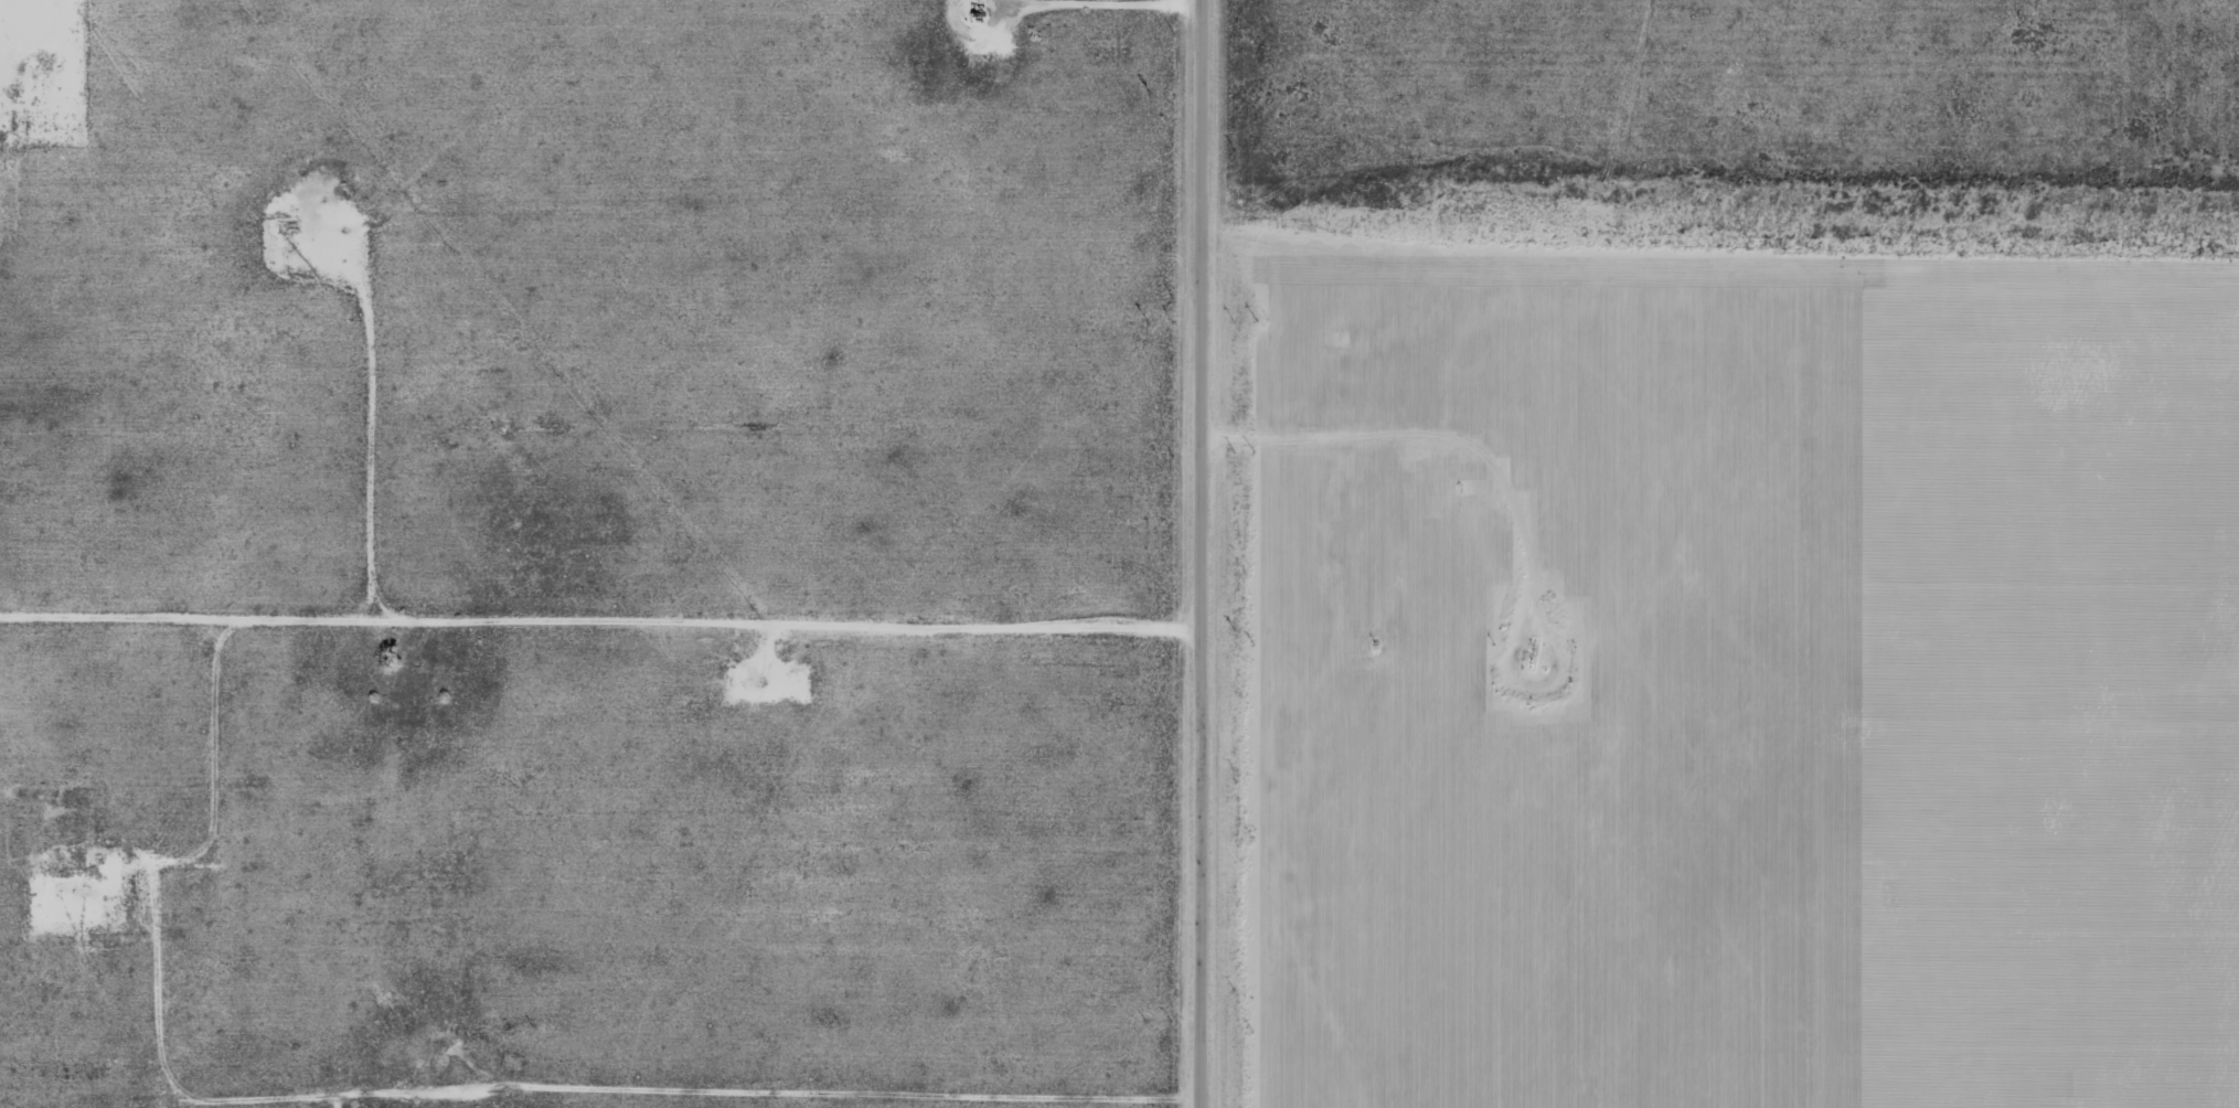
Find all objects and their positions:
road: (1190, 553)
road: (595, 606)
road: (595, 1075)

